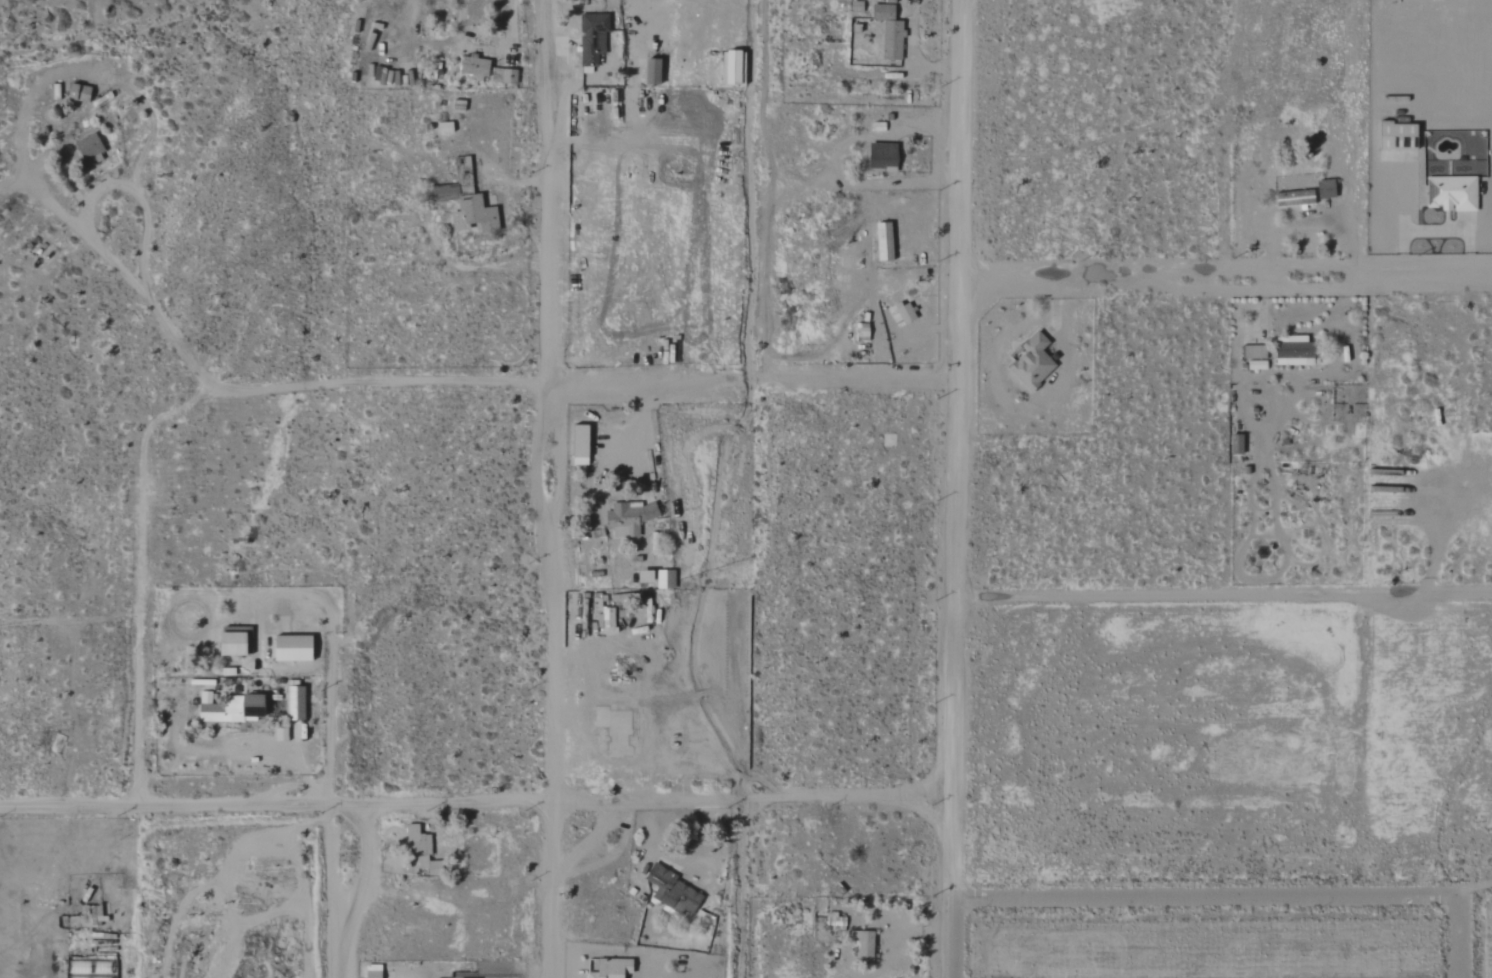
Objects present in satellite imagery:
building: (888, 32)
road: (489, 47)
road: (916, 62)
building: (472, 68)
building: (732, 68)
building: (1395, 136)
building: (87, 147)
road: (104, 187)
road: (547, 191)
building: (1450, 193)
building: (1293, 199)
building: (475, 211)
road: (1306, 224)
road: (1437, 231)
building: (882, 241)
road: (1229, 265)
building: (1247, 335)
building: (1292, 352)
building: (1031, 363)
building: (1256, 366)
road: (526, 380)
road: (644, 429)
building: (577, 445)
road: (956, 448)
building: (642, 577)
road: (138, 578)
building: (664, 580)
road: (1222, 597)
building: (289, 649)
road: (553, 680)
building: (294, 704)
building: (233, 709)
road: (294, 766)
road: (478, 802)
building: (418, 848)
road: (372, 867)
road: (740, 889)
road: (1475, 890)
road: (347, 891)
road: (1208, 896)
road: (1461, 936)
road: (955, 938)
building: (863, 947)
building: (610, 968)

